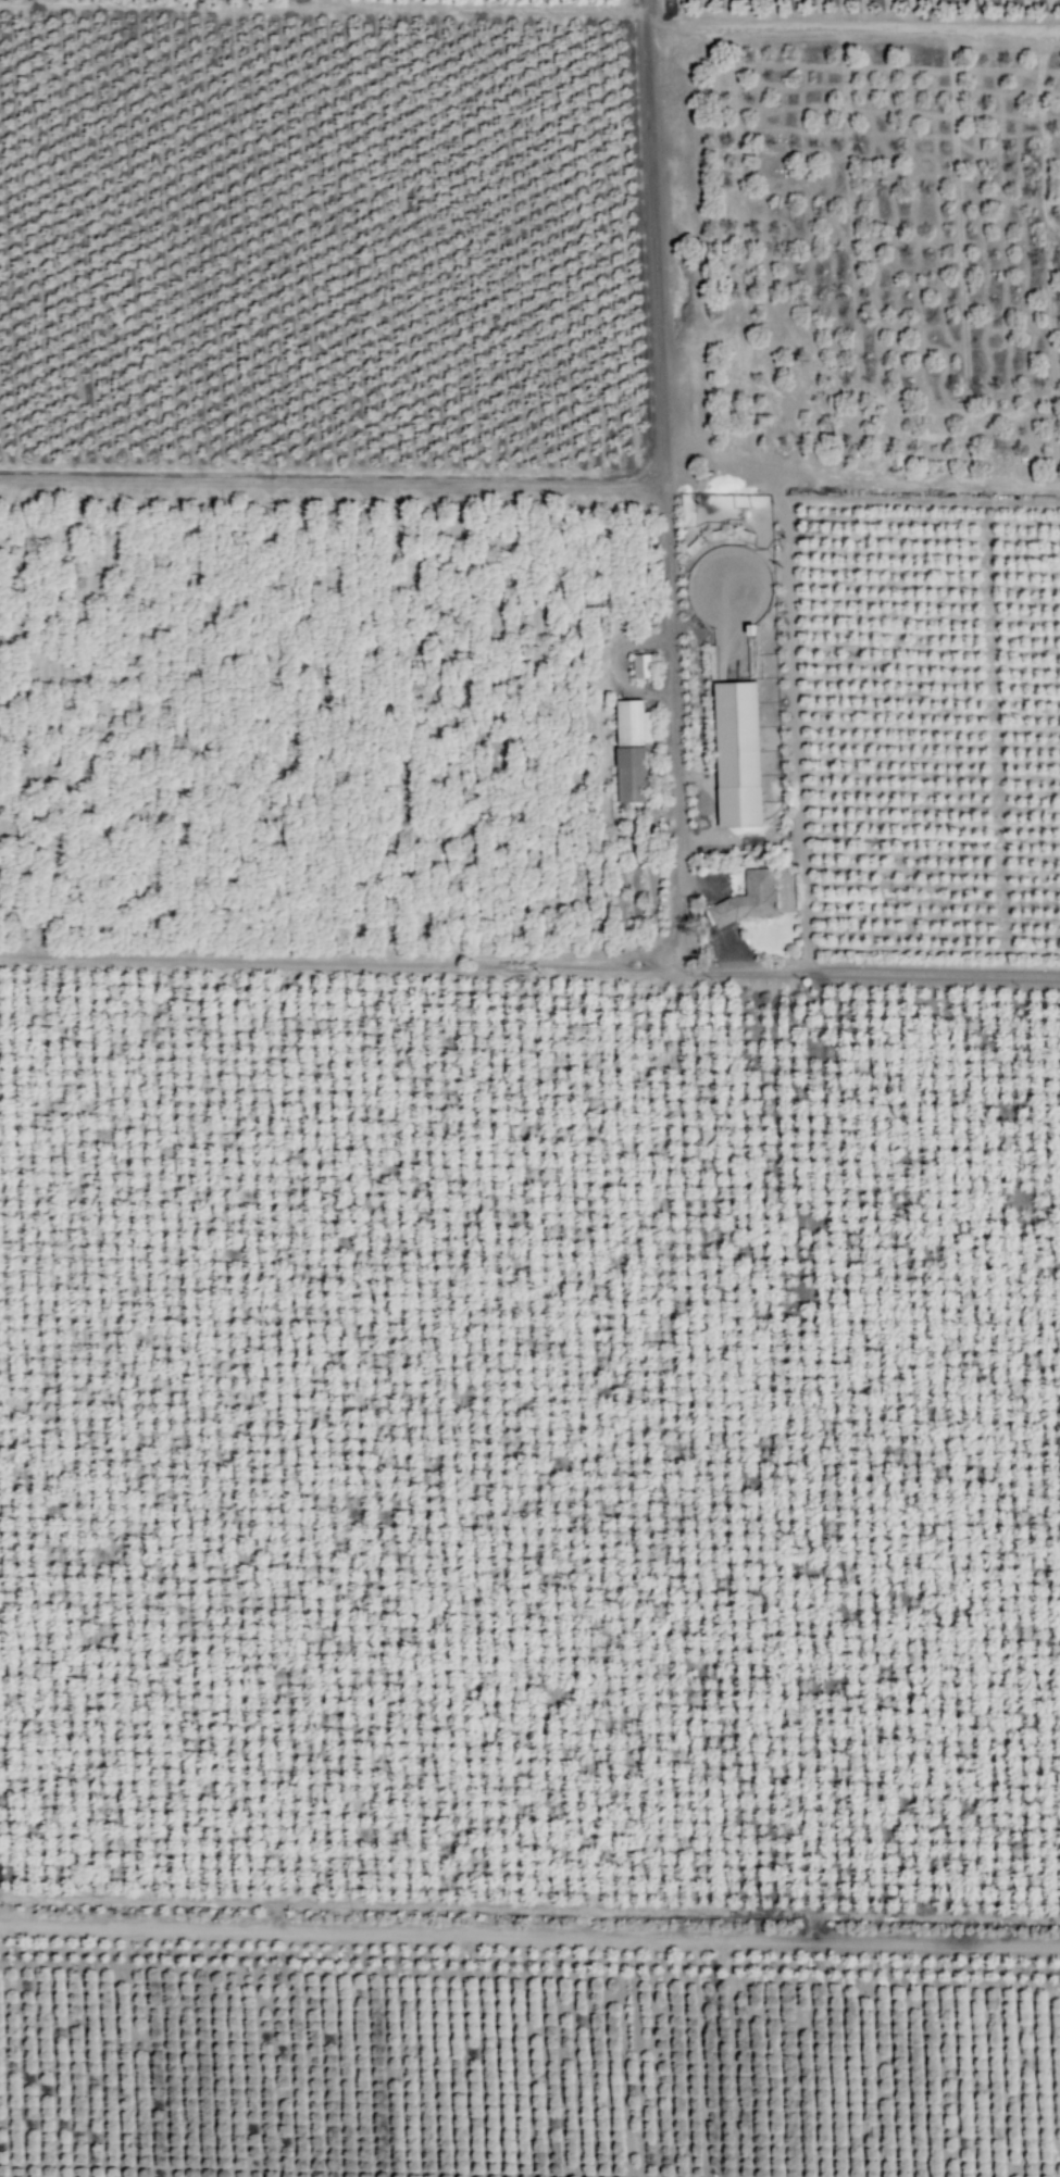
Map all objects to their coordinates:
road: (670, 483)
building: (639, 666)
building: (626, 751)
building: (732, 754)
building: (745, 900)
road: (529, 963)

